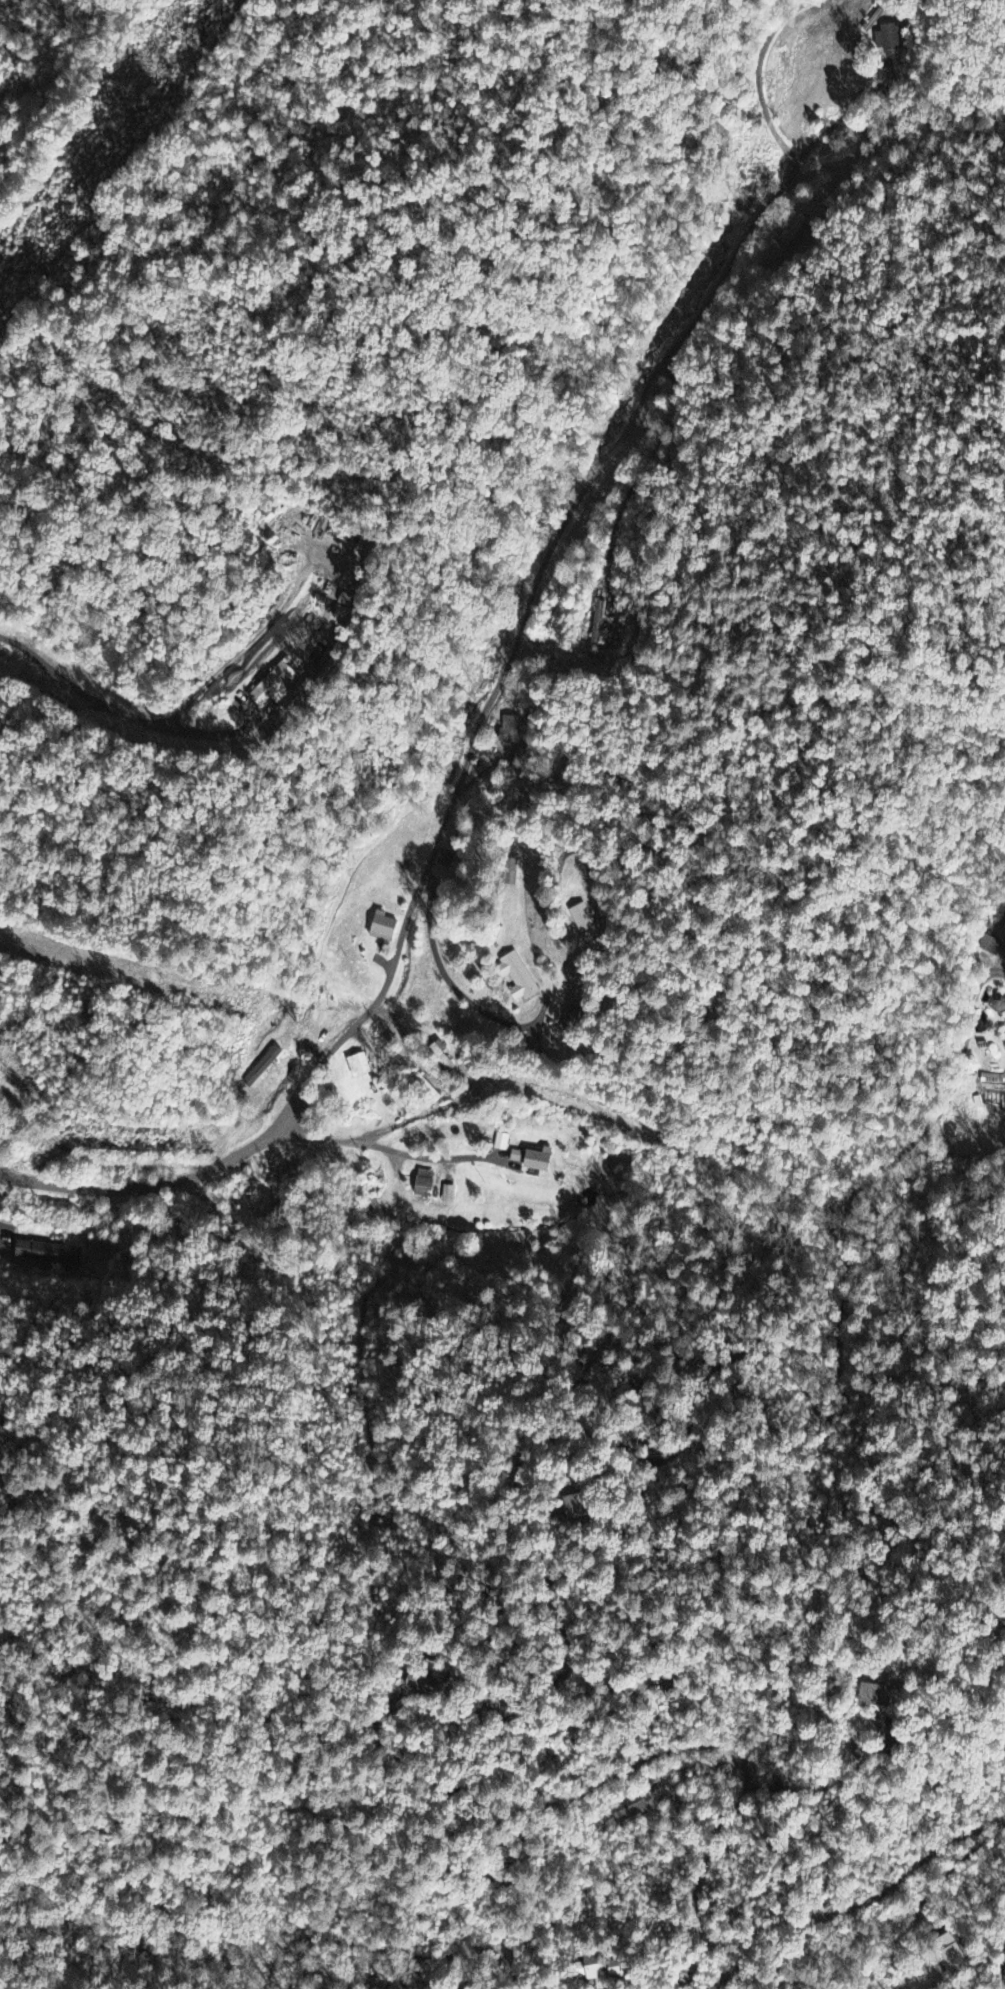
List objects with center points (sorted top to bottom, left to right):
building: (894, 36)
road: (758, 76)
road: (838, 120)
building: (794, 228)
road: (528, 610)
building: (273, 686)
road: (116, 711)
building: (509, 731)
building: (446, 859)
building: (384, 928)
building: (991, 947)
building: (518, 979)
building: (998, 1005)
building: (359, 1066)
building: (992, 1080)
road: (292, 1105)
building: (501, 1143)
road: (383, 1147)
building: (517, 1157)
building: (540, 1161)
road: (142, 1187)
building: (424, 1187)
building: (449, 1194)
building: (49, 1254)
road: (542, 1573)
building: (418, 1683)
building: (877, 1695)
building: (629, 1809)
road: (389, 1948)
road: (1004, 1954)
road: (734, 1968)
building: (588, 1969)

